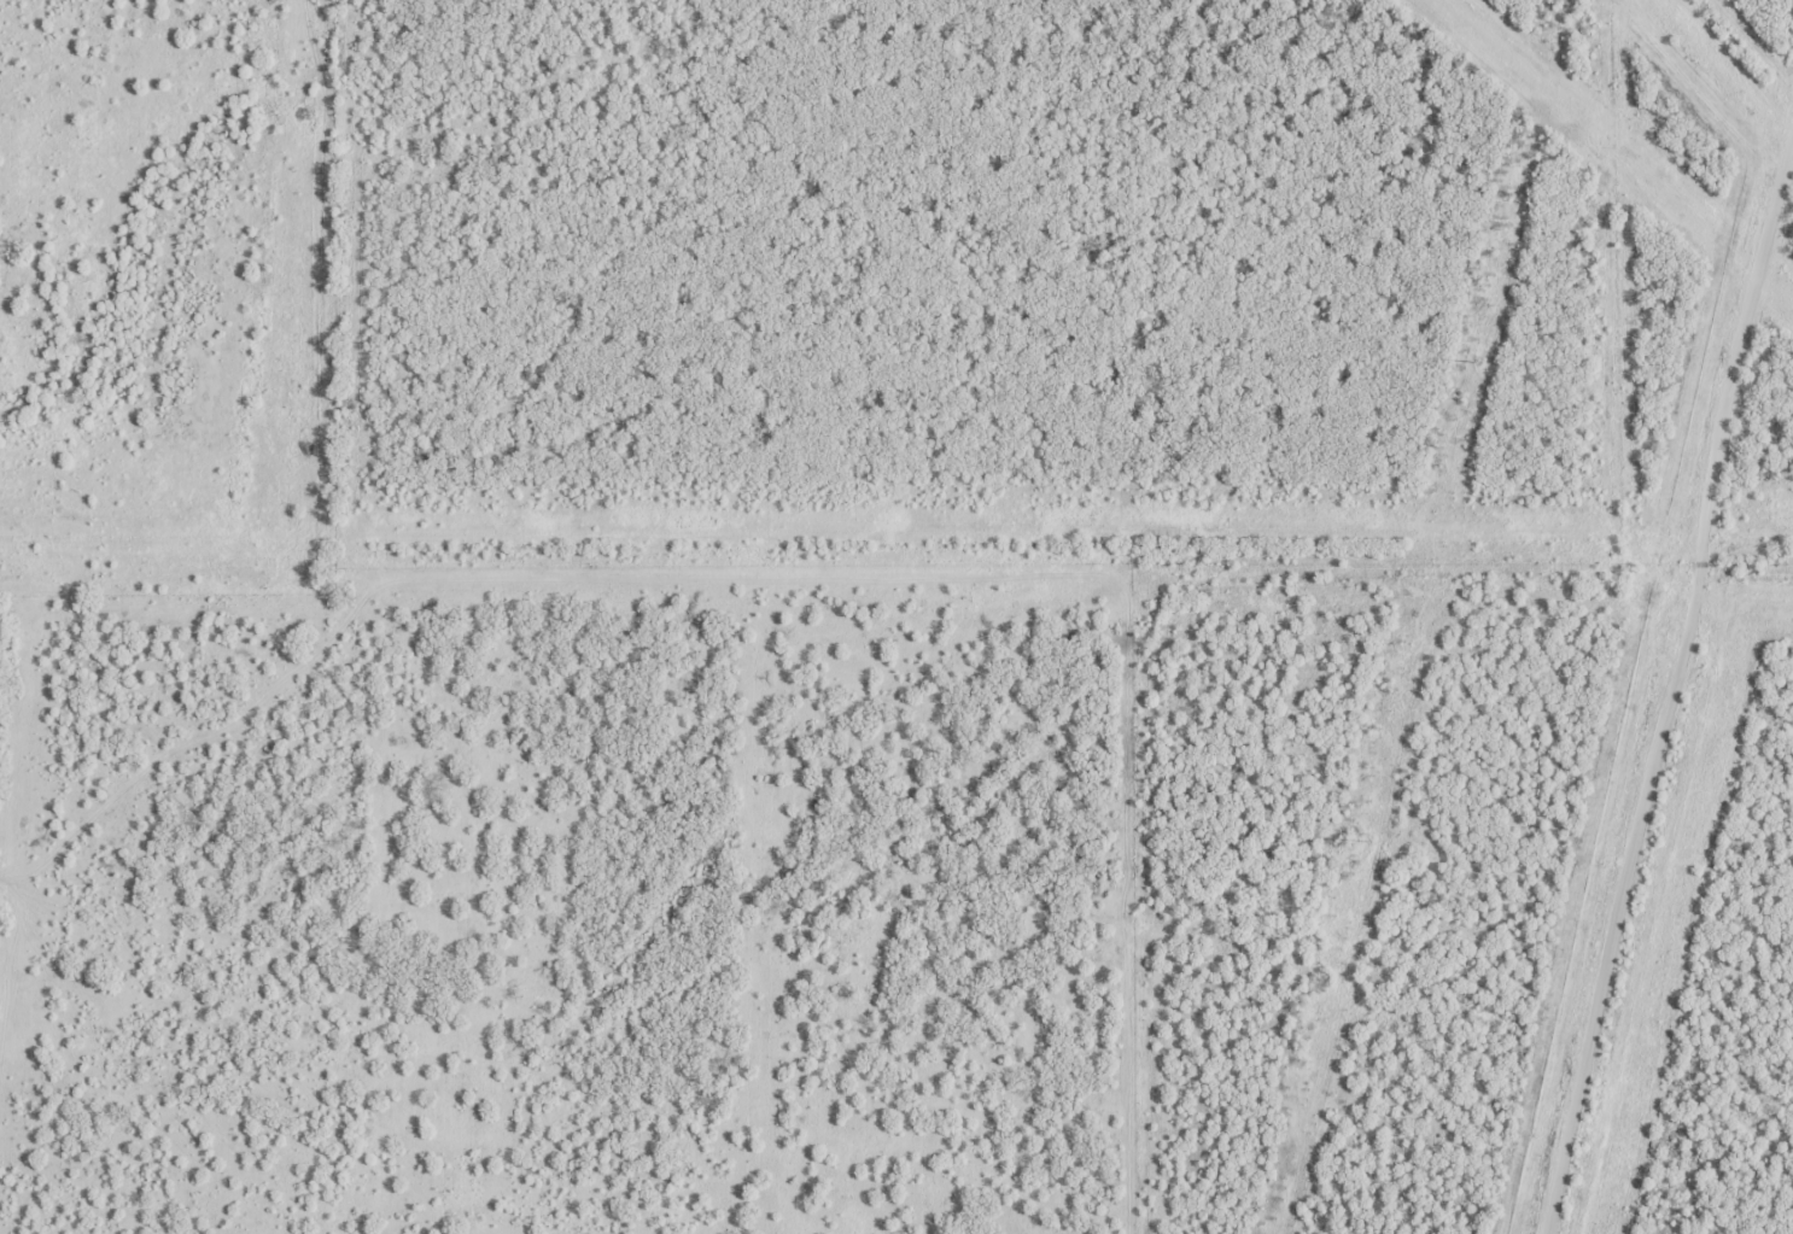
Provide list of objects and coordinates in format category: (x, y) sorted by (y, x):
power tower: (1474, 362)
road: (1672, 683)
power tower: (1367, 842)

